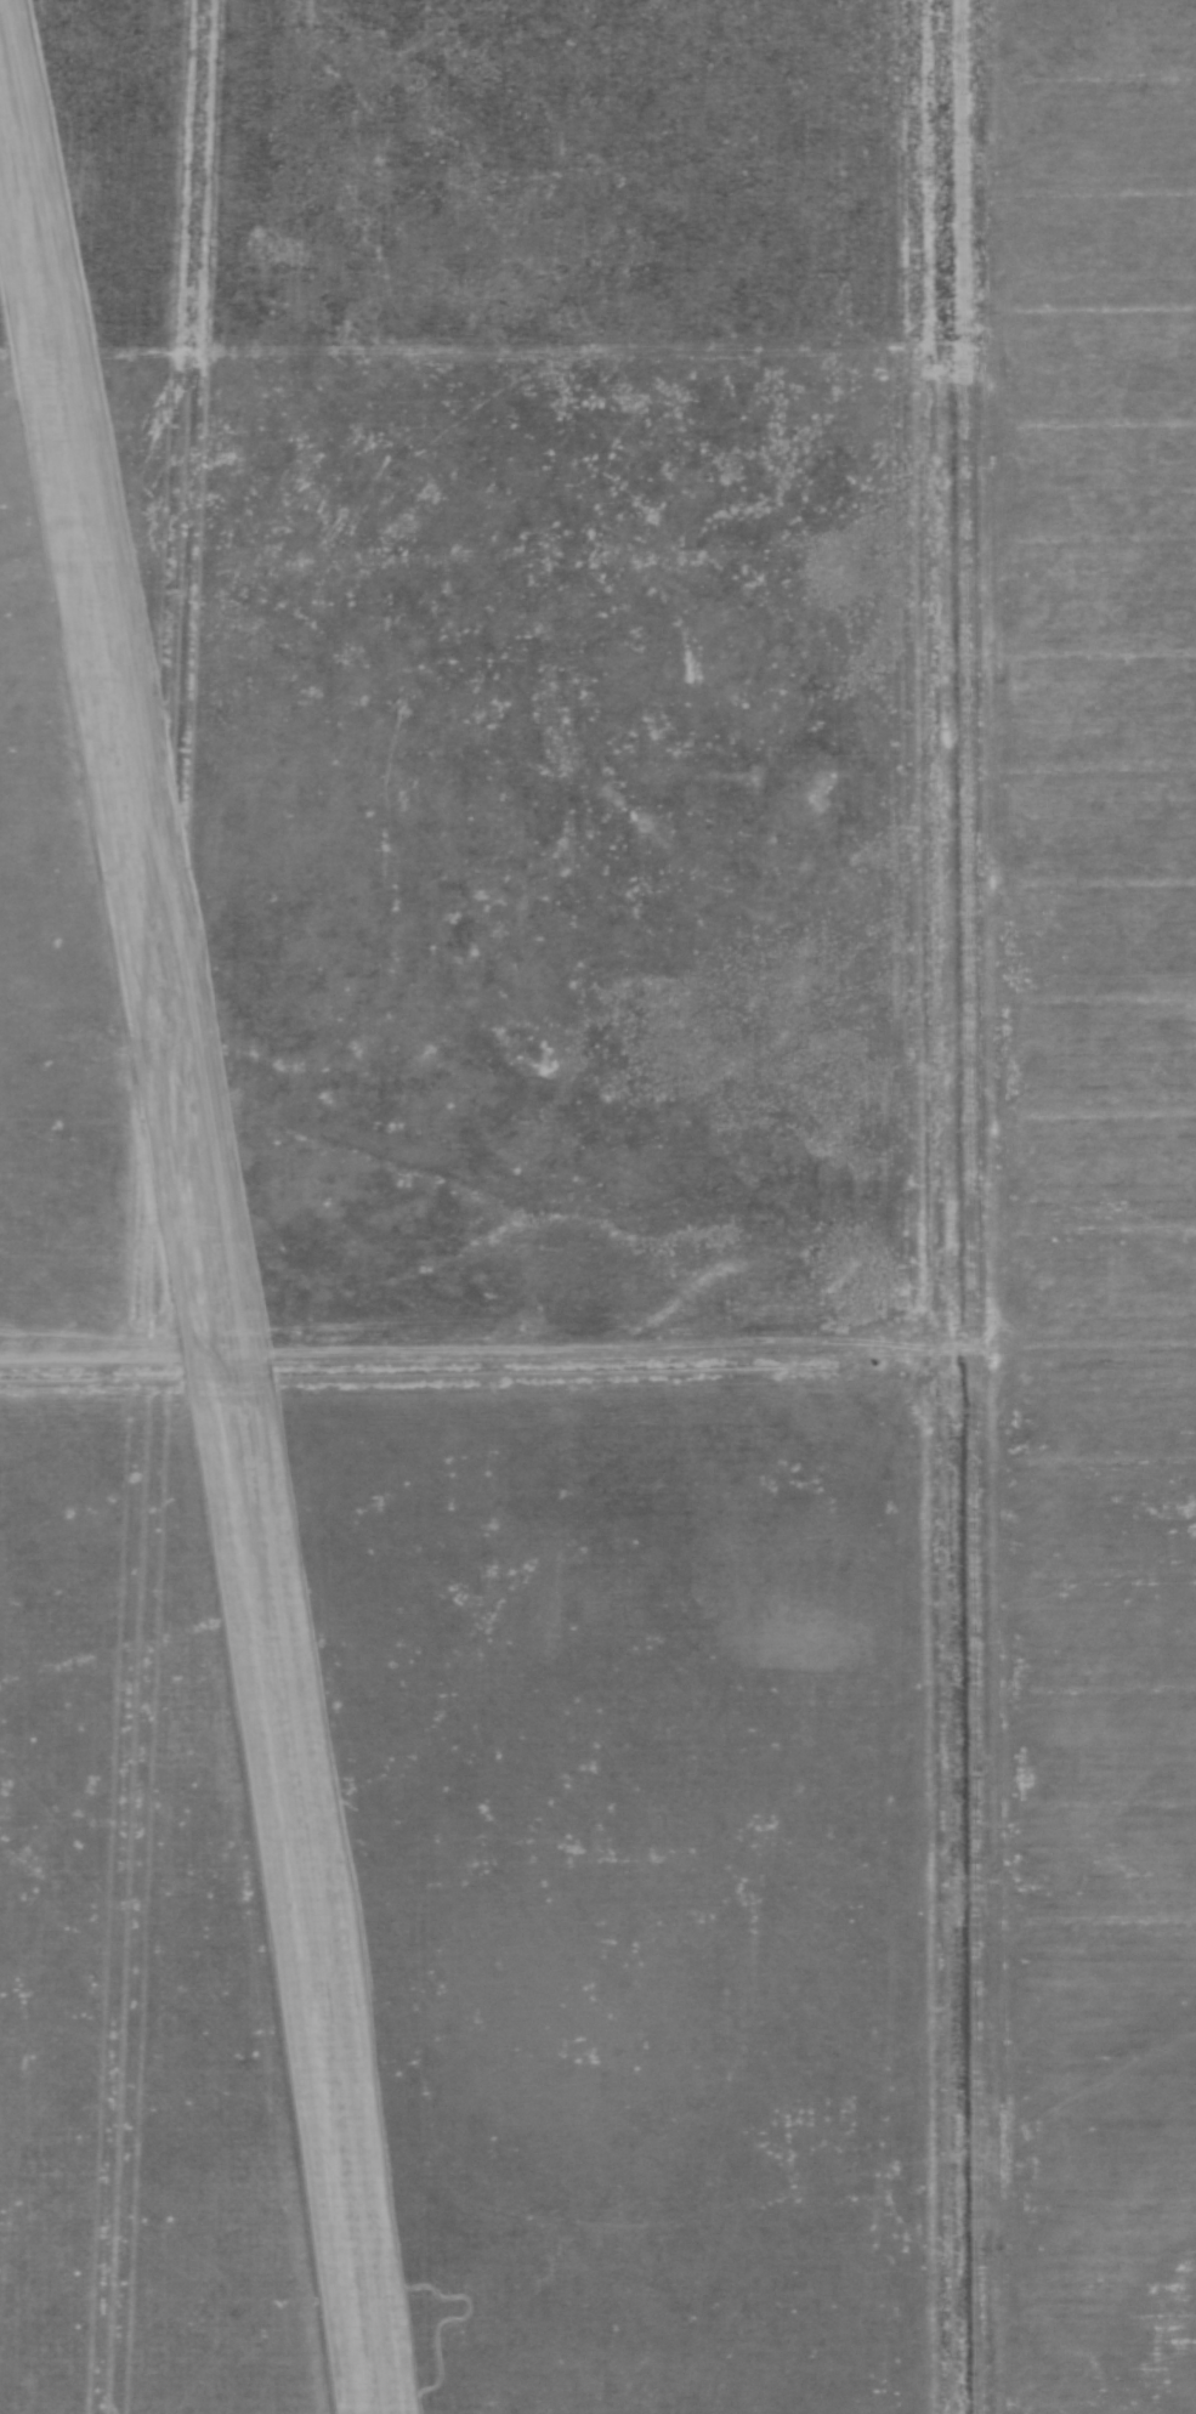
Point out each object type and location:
park: (1098, 1185)
railway: (208, 1228)
railway: (199, 1256)
crop: (703, 1627)

